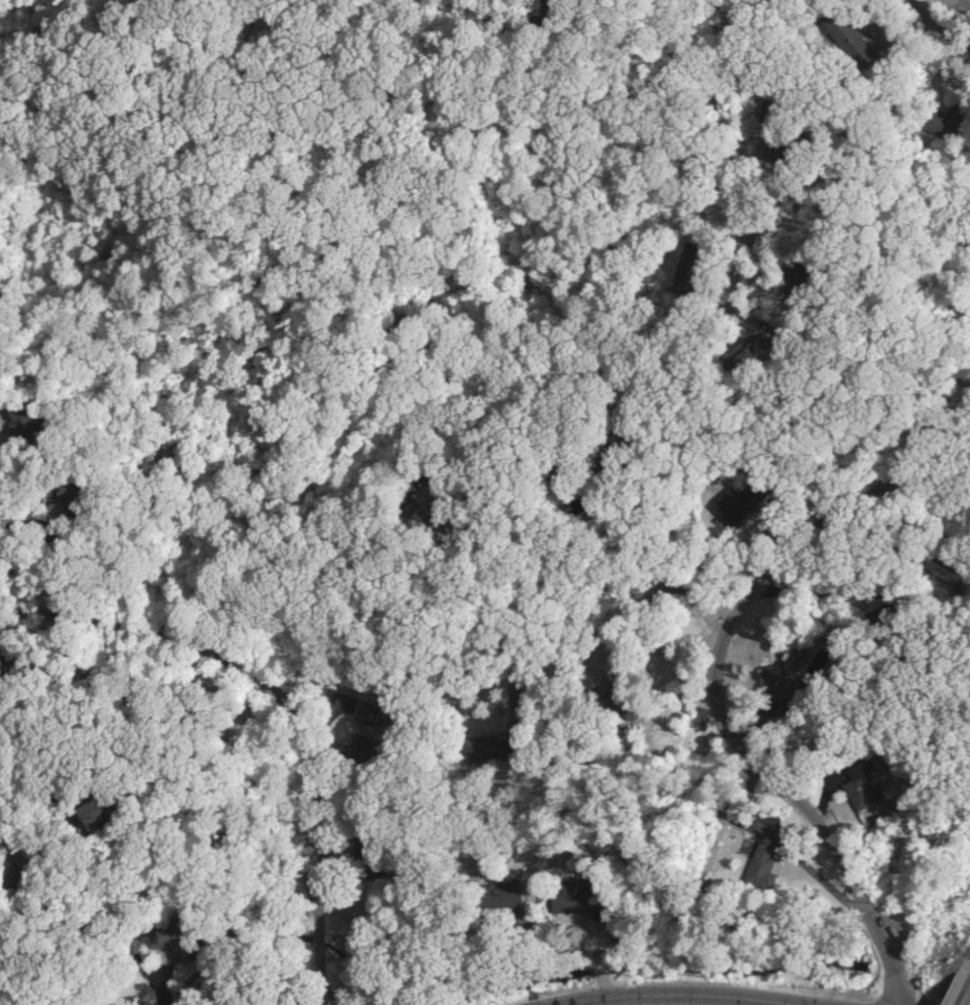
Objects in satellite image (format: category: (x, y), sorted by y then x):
road: (251, 0)
road: (902, 2)
road: (931, 29)
road: (678, 53)
building: (935, 122)
road: (484, 139)
road: (739, 258)
road: (553, 470)
road: (31, 521)
road: (567, 650)
road: (708, 657)
building: (787, 689)
road: (273, 712)
building: (855, 785)
building: (85, 810)
road: (17, 858)
building: (752, 864)
road: (11, 873)
building: (568, 898)
building: (160, 940)
road: (964, 993)
road: (655, 1004)

